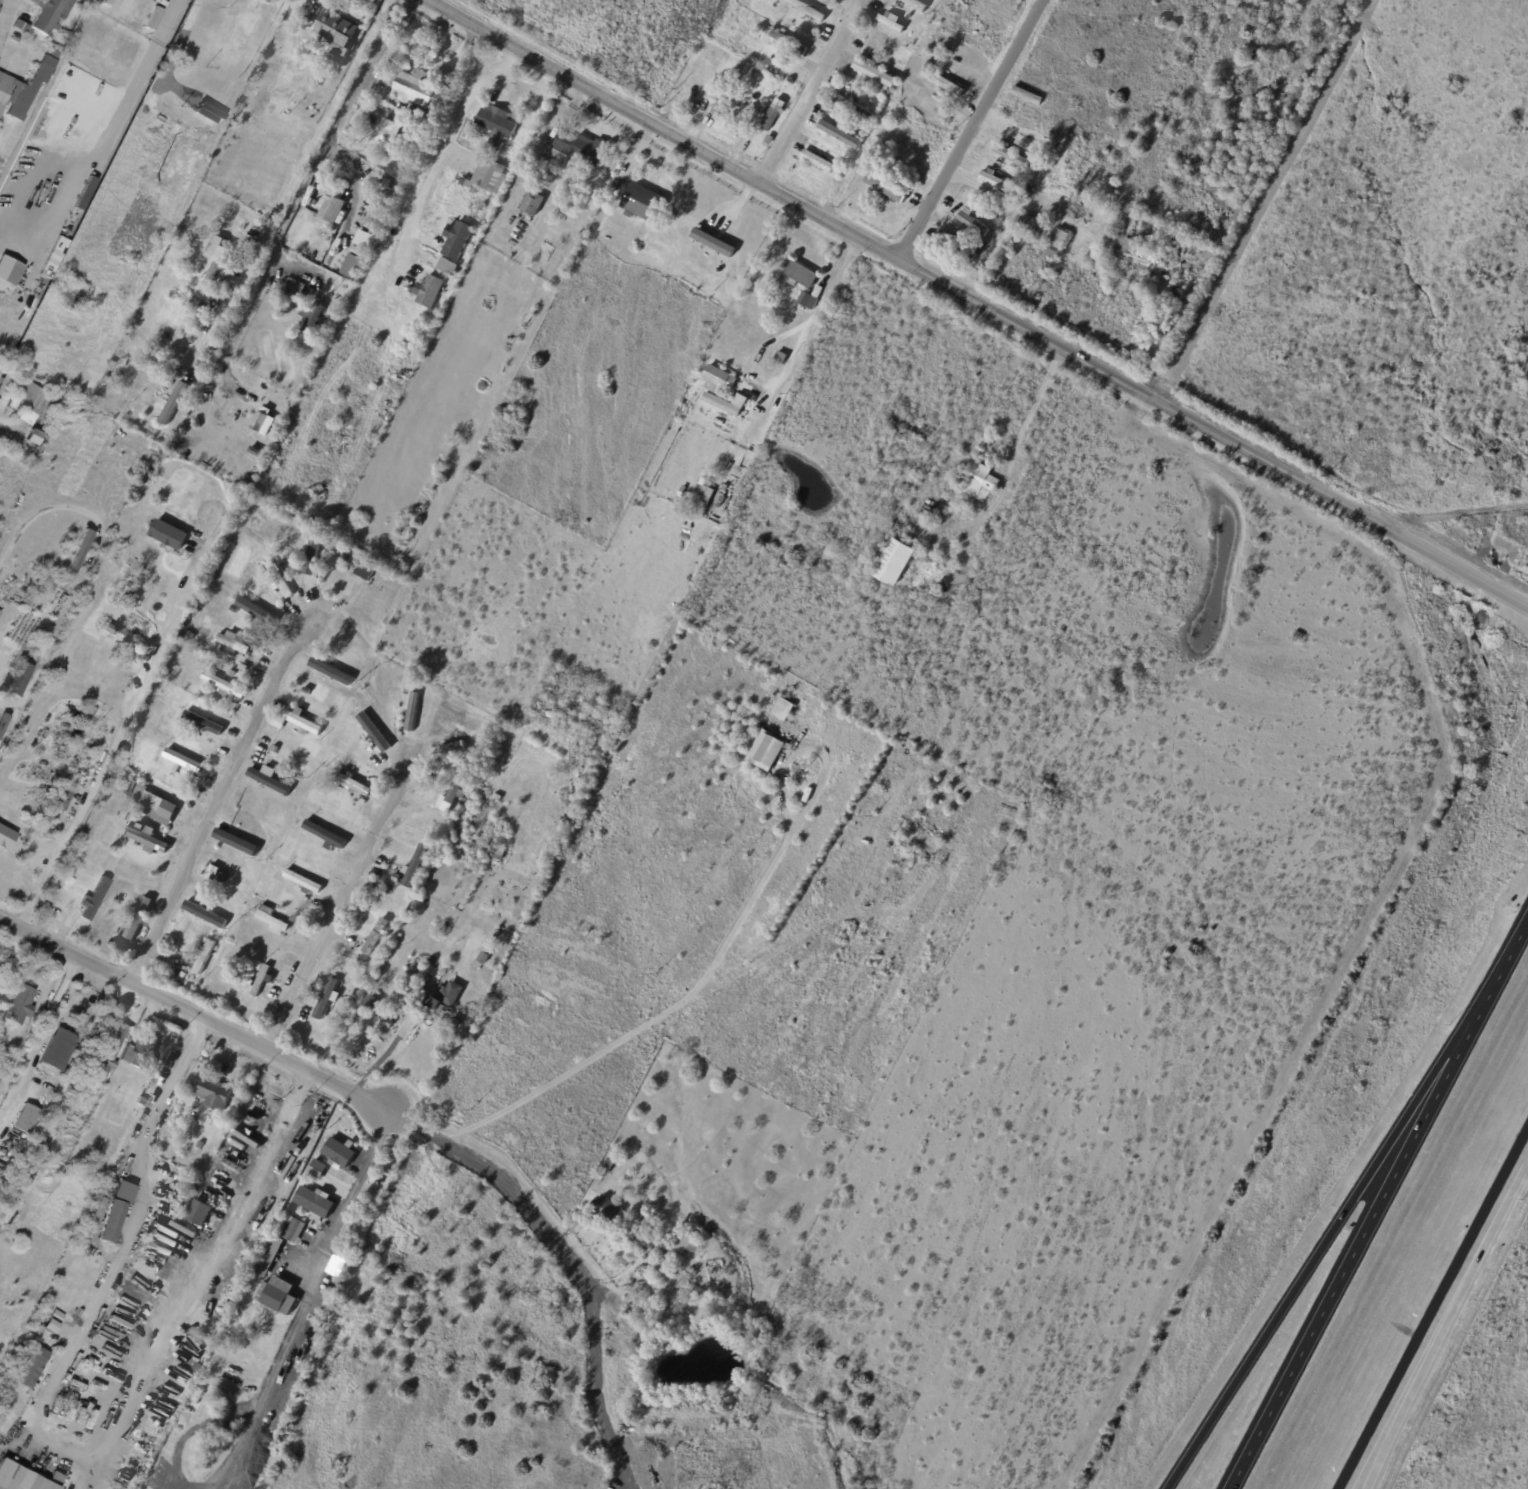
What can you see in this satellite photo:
building: (149, 3)
building: (916, 4)
building: (1251, 6)
building: (807, 10)
building: (47, 15)
road: (5, 16)
road: (171, 18)
building: (889, 22)
building: (1251, 22)
building: (20, 28)
building: (113, 32)
building: (766, 32)
building: (336, 33)
building: (15, 38)
building: (789, 42)
road: (174, 47)
building: (144, 51)
building: (302, 53)
building: (297, 62)
building: (1265, 63)
building: (929, 65)
building: (736, 72)
building: (874, 72)
building: (943, 84)
building: (778, 85)
building: (24, 87)
building: (417, 92)
road: (811, 92)
building: (887, 92)
building: (723, 97)
building: (317, 105)
building: (852, 107)
building: (773, 116)
building: (421, 125)
building: (867, 127)
building: (496, 128)
road: (972, 130)
building: (386, 134)
building: (839, 135)
building: (411, 137)
building: (861, 137)
building: (768, 141)
road: (445, 146)
building: (577, 151)
building: (1013, 158)
building: (406, 161)
building: (817, 161)
building: (839, 166)
building: (1043, 167)
building: (870, 172)
building: (493, 179)
road: (290, 182)
building: (998, 184)
road: (301, 190)
building: (1029, 190)
building: (885, 191)
building: (309, 192)
building: (529, 204)
building: (641, 204)
building: (330, 209)
building: (373, 220)
building: (972, 223)
building: (1031, 226)
building: (997, 232)
building: (1126, 236)
building: (456, 240)
building: (365, 241)
building: (712, 242)
building: (1056, 246)
building: (23, 250)
building: (958, 251)
building: (216, 258)
building: (448, 267)
building: (798, 277)
building: (292, 291)
building: (430, 293)
building: (186, 298)
building: (809, 300)
road: (978, 304)
building: (309, 320)
building: (200, 323)
building: (222, 332)
building: (167, 347)
building: (780, 358)
road: (790, 362)
building: (1, 370)
building: (718, 381)
building: (6, 382)
building: (28, 393)
building: (740, 401)
building: (173, 405)
building: (263, 422)
road: (1, 423)
building: (904, 433)
building: (30, 447)
road: (1013, 450)
building: (980, 482)
building: (681, 491)
building: (702, 494)
building: (720, 497)
road: (33, 515)
building: (164, 531)
building: (325, 542)
building: (331, 550)
building: (80, 551)
building: (310, 559)
building: (892, 564)
building: (359, 565)
building: (44, 573)
building: (62, 577)
building: (278, 577)
building: (131, 588)
building: (308, 596)
building: (251, 611)
building: (187, 637)
building: (125, 641)
building: (231, 642)
building: (200, 662)
road: (35, 670)
building: (331, 672)
building: (232, 674)
building: (16, 678)
building: (222, 686)
building: (404, 695)
building: (783, 710)
building: (412, 712)
building: (3, 722)
building: (195, 722)
building: (277, 723)
building: (302, 723)
building: (216, 728)
building: (372, 729)
road: (117, 742)
building: (452, 748)
building: (766, 751)
building: (185, 762)
building: (344, 766)
building: (165, 767)
building: (475, 767)
building: (271, 783)
building: (352, 784)
building: (122, 785)
building: (1047, 793)
road: (217, 797)
building: (57, 798)
building: (450, 798)
building: (150, 803)
building: (127, 819)
building: (342, 829)
building: (505, 830)
building: (321, 832)
building: (144, 839)
building: (239, 843)
building: (486, 854)
building: (497, 856)
building: (414, 867)
building: (67, 871)
building: (212, 872)
building: (222, 877)
building: (76, 878)
building: (395, 879)
building: (302, 882)
road: (338, 901)
building: (93, 903)
building: (202, 910)
building: (136, 919)
building: (271, 921)
building: (496, 934)
building: (376, 938)
building: (120, 946)
building: (202, 957)
building: (482, 959)
building: (6, 965)
building: (258, 967)
building: (329, 973)
building: (183, 975)
building: (260, 981)
building: (444, 997)
building: (324, 1001)
building: (368, 1003)
building: (18, 1005)
road: (413, 1007)
road: (1473, 1009)
road: (196, 1015)
road: (657, 1019)
building: (387, 1024)
building: (451, 1026)
building: (358, 1048)
building: (106, 1052)
building: (58, 1053)
building: (140, 1055)
building: (73, 1088)
building: (213, 1095)
building: (139, 1100)
building: (338, 1152)
building: (609, 1163)
building: (316, 1169)
building: (175, 1175)
building: (120, 1191)
building: (314, 1201)
road: (528, 1204)
building: (607, 1212)
building: (197, 1213)
building: (110, 1221)
building: (293, 1231)
building: (81, 1241)
building: (675, 1252)
building: (269, 1258)
building: (679, 1269)
building: (697, 1269)
building: (276, 1296)
road: (304, 1297)
road: (1288, 1299)
road: (1321, 1301)
building: (47, 1310)
road: (1435, 1312)
building: (54, 1316)
road: (1423, 1360)
building: (32, 1364)
building: (227, 1377)
building: (248, 1383)
building: (276, 1391)
road: (64, 1446)
building: (21, 1478)

